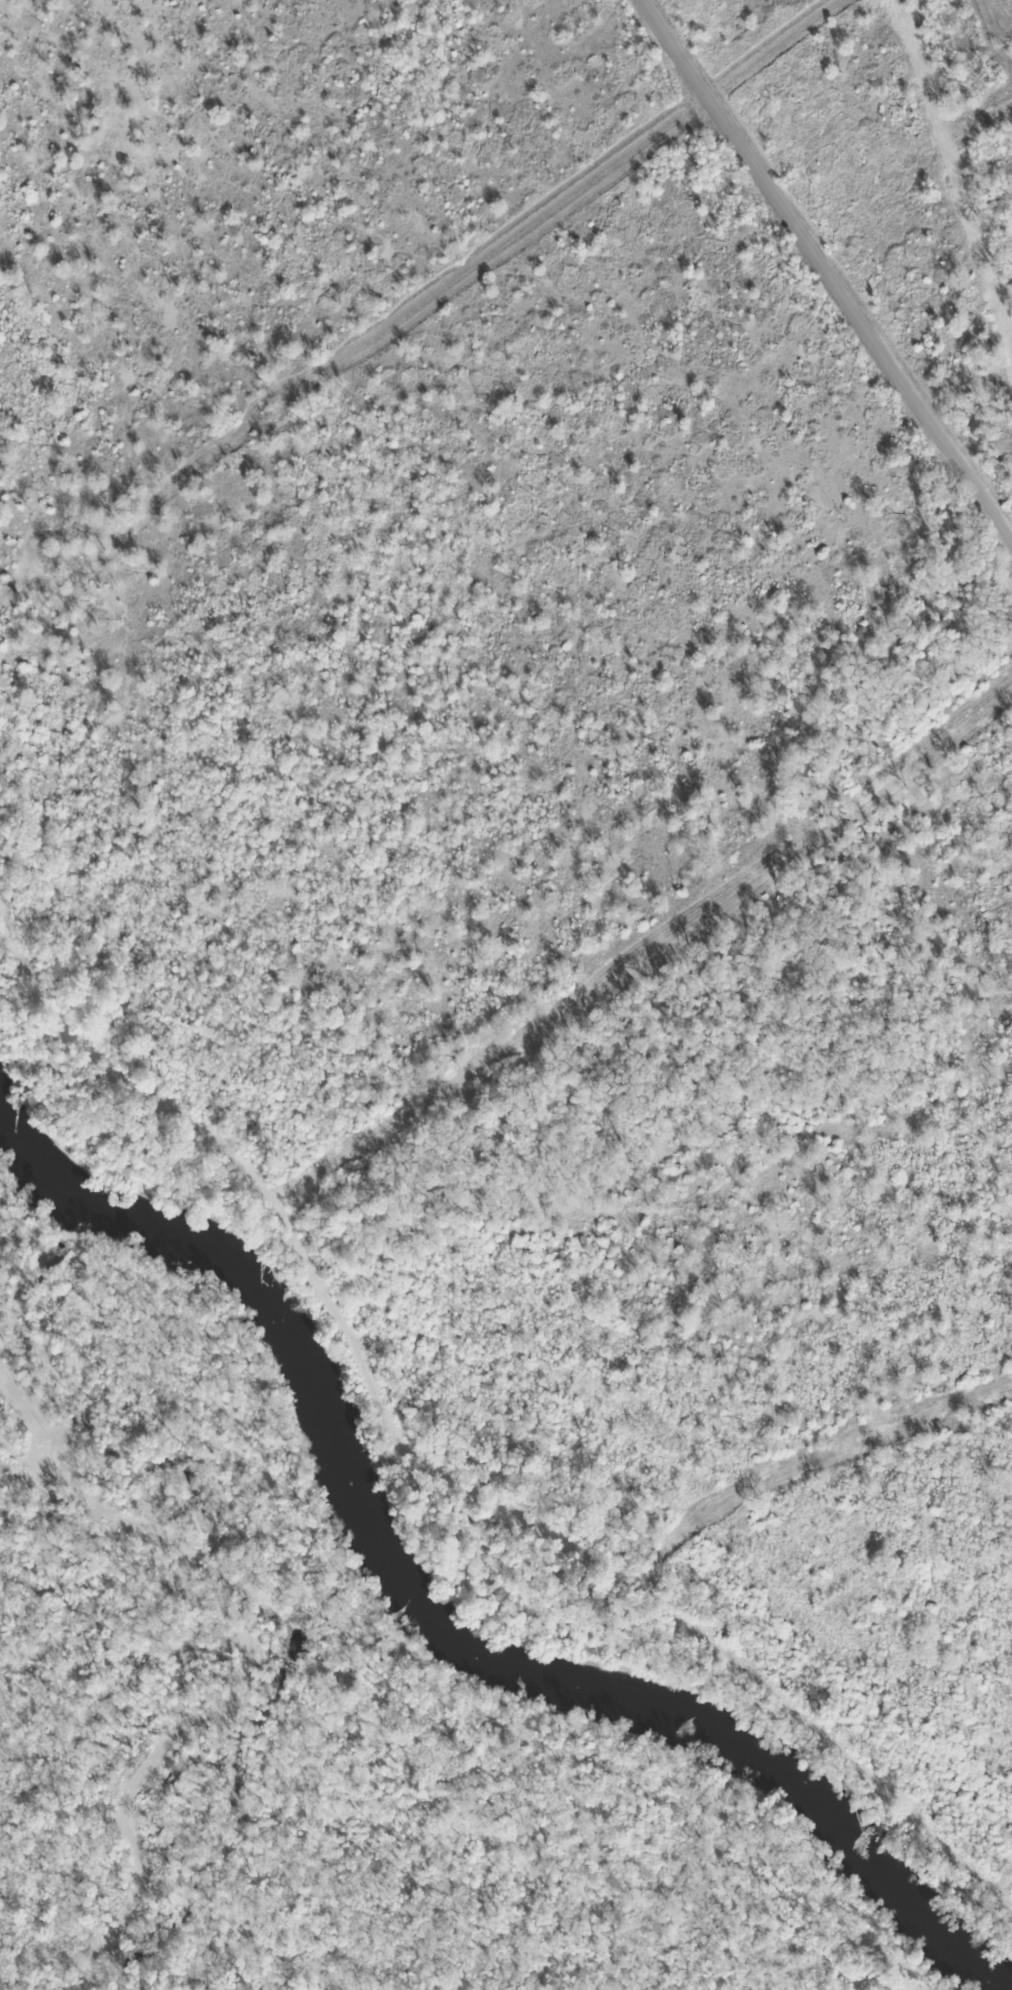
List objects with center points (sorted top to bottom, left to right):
road: (831, 272)
road: (260, 1193)
river: (239, 1285)
road: (723, 1683)
river: (700, 1732)

